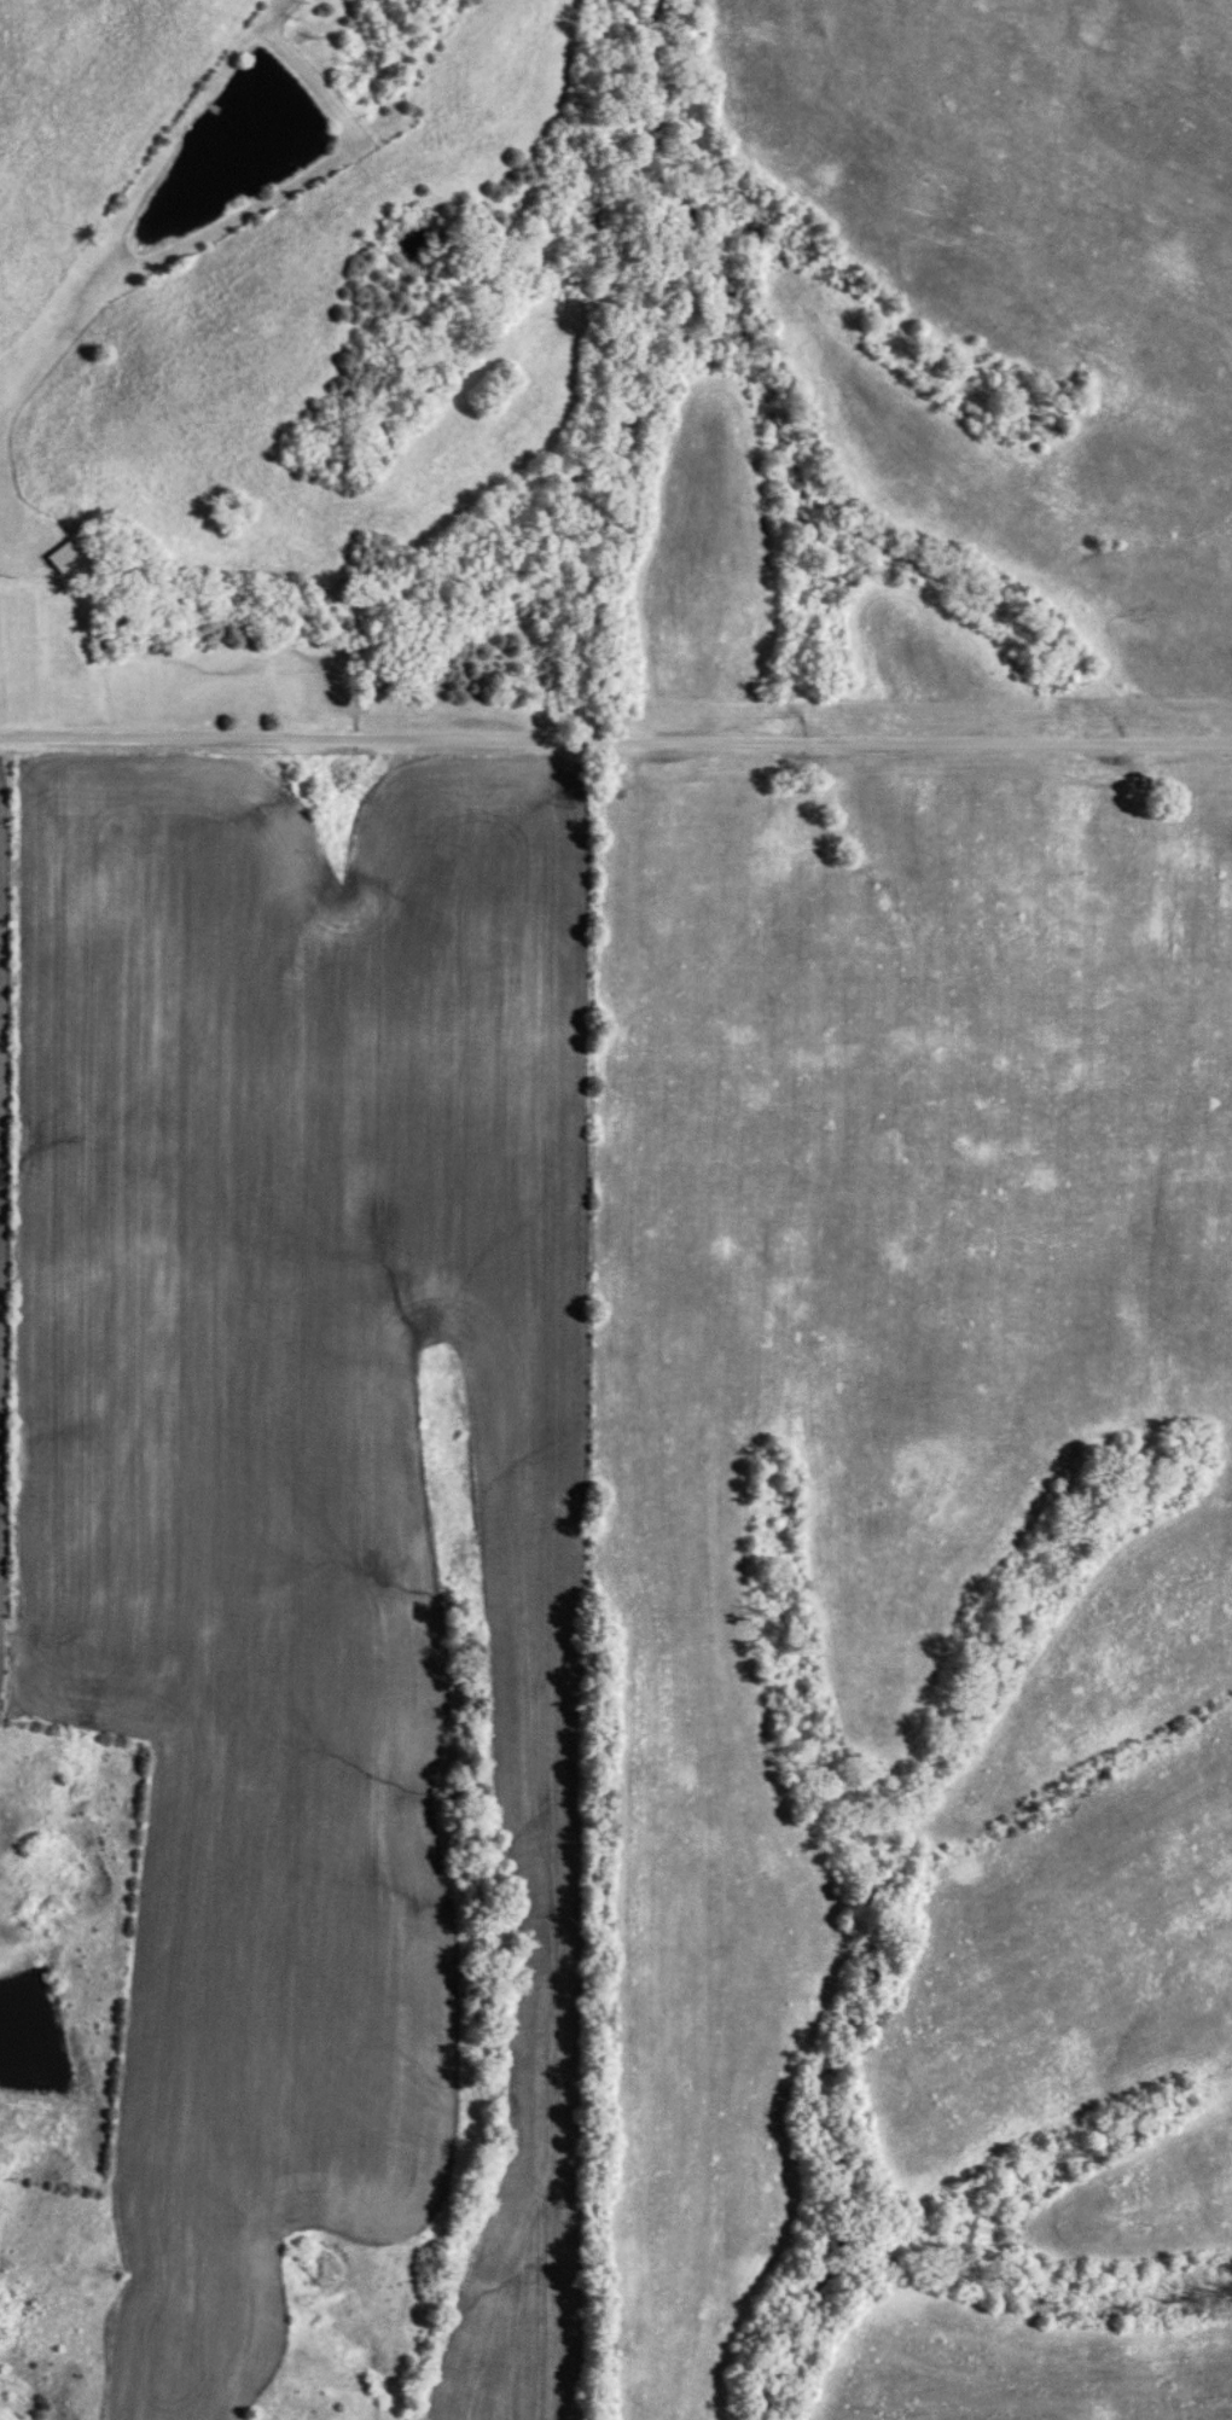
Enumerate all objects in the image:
road: (616, 741)

